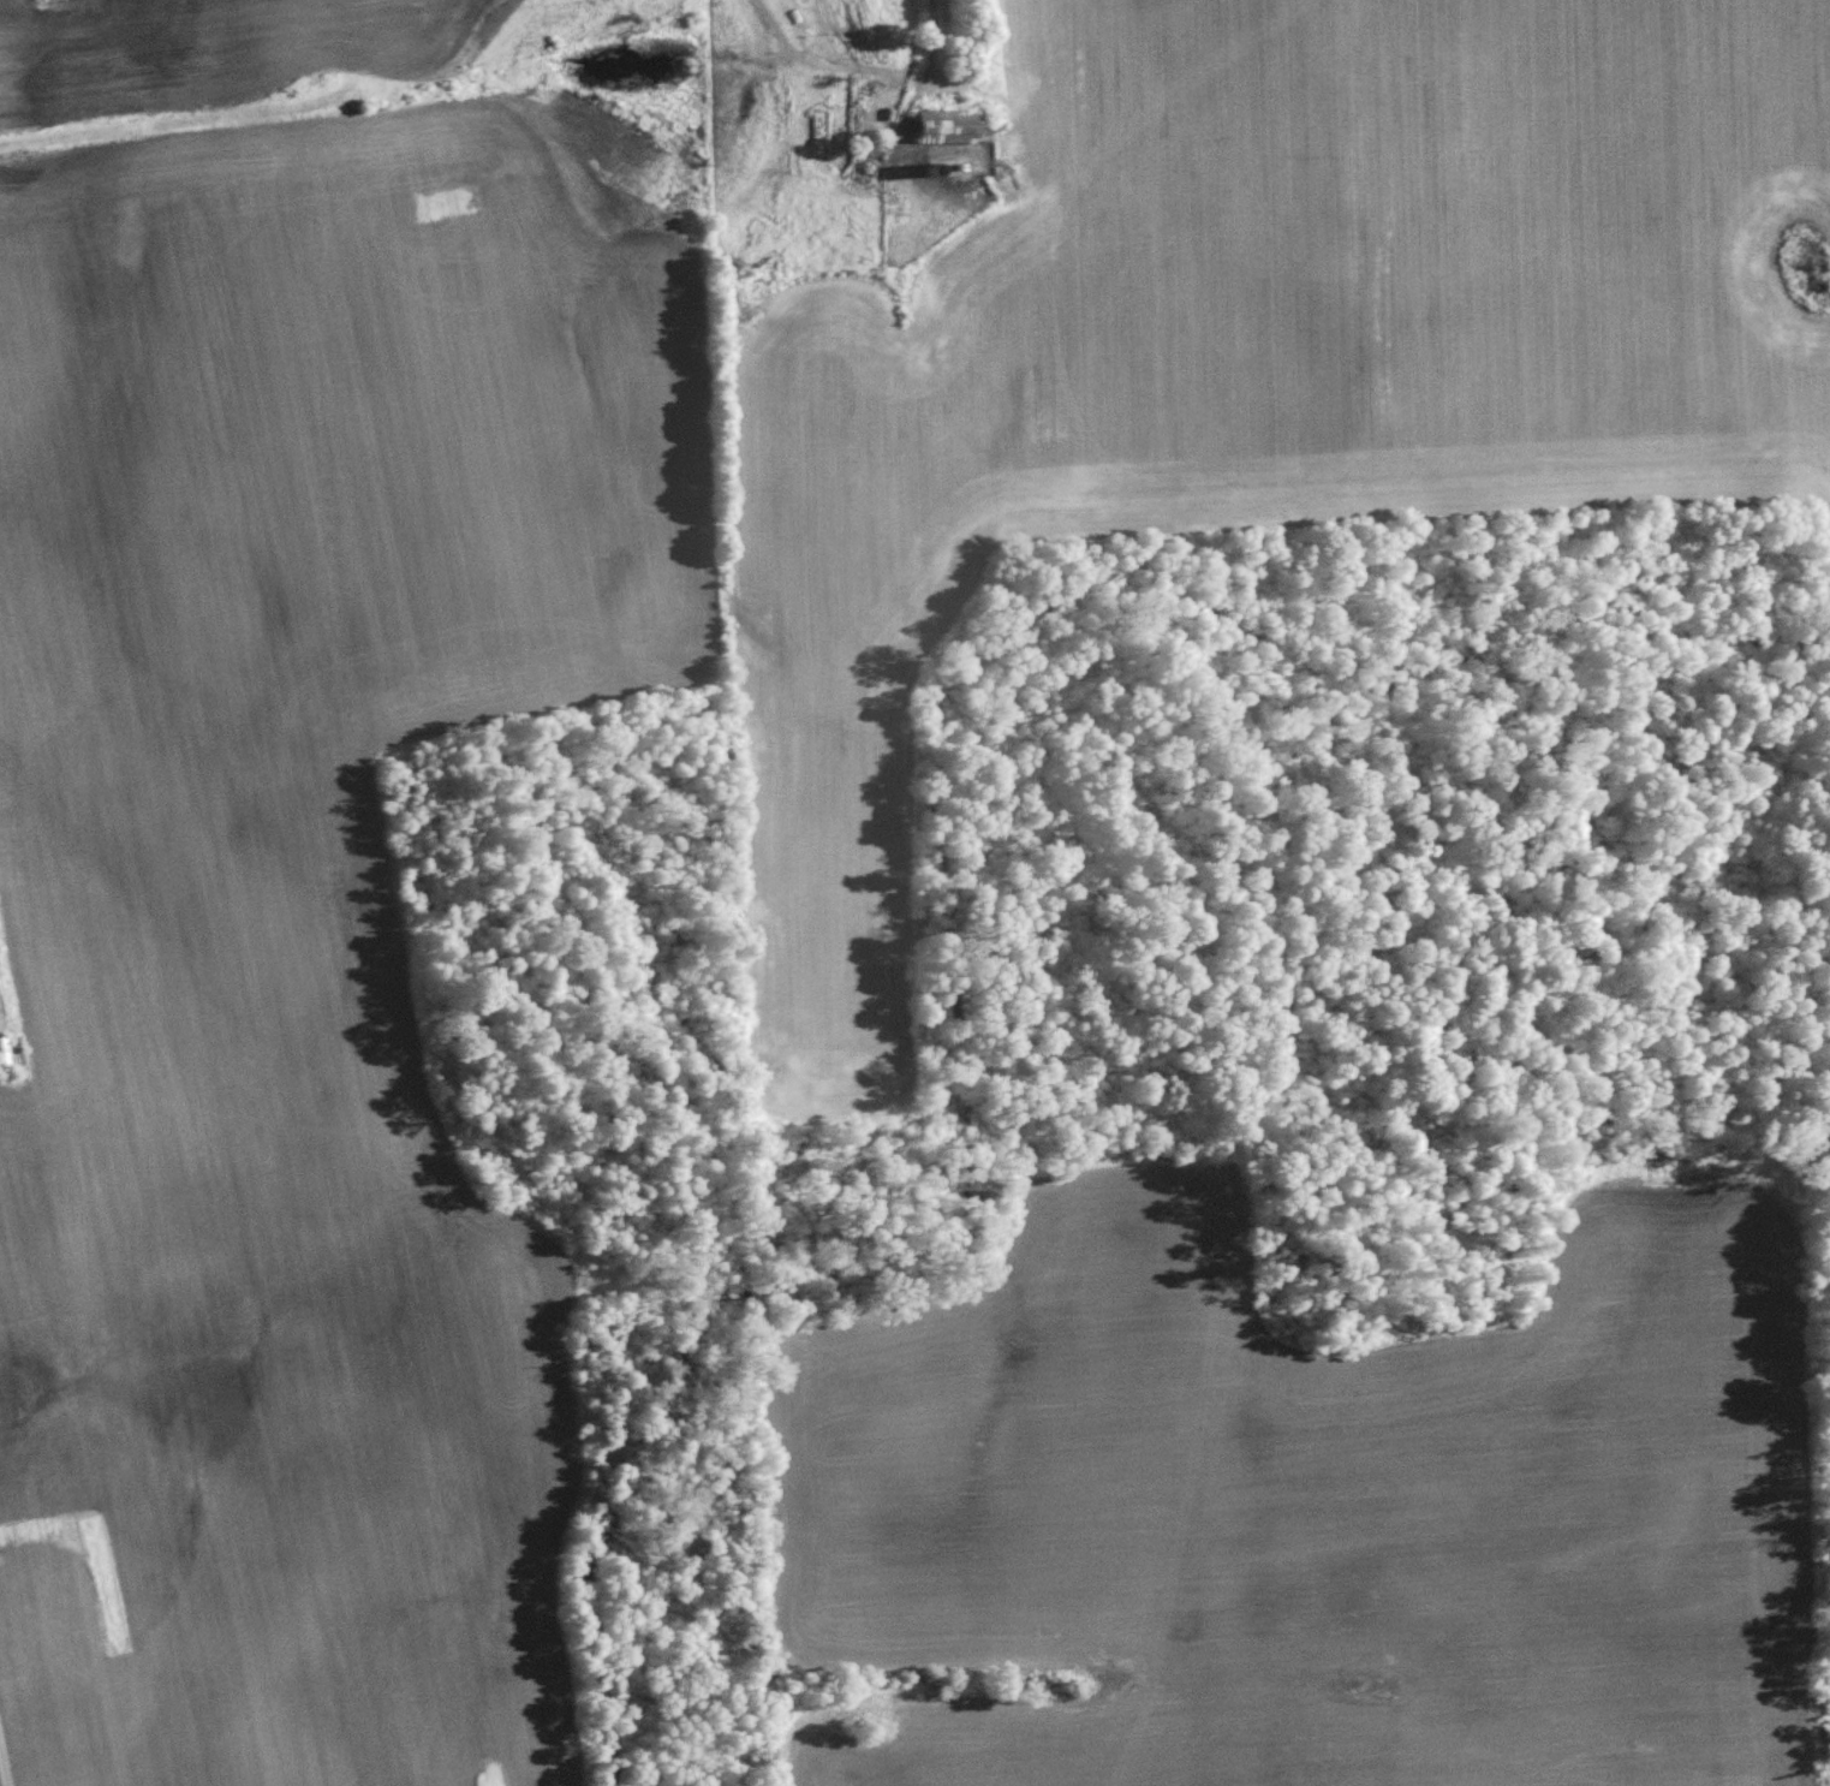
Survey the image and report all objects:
road: (154, 44)
building: (946, 129)
building: (2, 1050)

